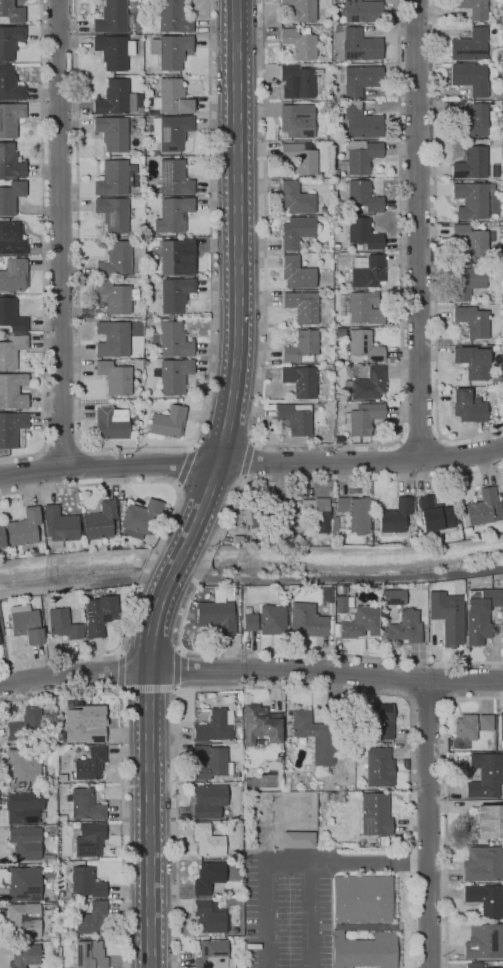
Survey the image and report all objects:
building: (472, 8)
building: (301, 9)
building: (361, 11)
building: (11, 12)
building: (111, 17)
building: (170, 17)
building: (9, 41)
building: (299, 43)
building: (469, 45)
building: (360, 46)
building: (113, 51)
building: (170, 51)
building: (470, 78)
building: (358, 79)
building: (296, 82)
building: (9, 85)
building: (114, 98)
building: (171, 98)
building: (139, 111)
building: (149, 112)
building: (10, 119)
building: (296, 121)
building: (473, 122)
building: (360, 123)
building: (111, 132)
building: (170, 132)
building: (361, 156)
building: (299, 157)
building: (10, 162)
building: (471, 163)
building: (115, 178)
building: (173, 178)
building: (362, 196)
building: (10, 197)
building: (295, 198)
building: (471, 200)
building: (113, 214)
building: (172, 215)
building: (502, 227)
road: (417, 230)
building: (295, 231)
road: (59, 233)
road: (238, 233)
building: (362, 234)
building: (11, 239)
building: (470, 239)
road: (43, 246)
building: (335, 246)
road: (435, 250)
building: (174, 256)
building: (115, 260)
building: (366, 271)
building: (296, 273)
building: (13, 274)
building: (466, 281)
building: (174, 294)
building: (115, 296)
building: (302, 307)
building: (360, 307)
building: (11, 316)
building: (471, 321)
building: (337, 331)
building: (112, 339)
building: (169, 340)
building: (497, 340)
building: (363, 346)
building: (301, 347)
building: (11, 351)
building: (471, 361)
building: (139, 363)
building: (173, 376)
building: (494, 377)
building: (114, 378)
building: (300, 380)
building: (368, 384)
building: (12, 391)
building: (328, 405)
building: (467, 406)
building: (294, 418)
building: (364, 419)
building: (167, 422)
building: (109, 425)
building: (10, 428)
road: (420, 438)
road: (327, 444)
road: (137, 446)
road: (81, 448)
road: (62, 451)
road: (43, 452)
road: (439, 456)
road: (249, 460)
road: (389, 461)
road: (251, 462)
road: (214, 476)
road: (331, 479)
road: (158, 482)
road: (31, 490)
building: (483, 508)
building: (271, 510)
building: (316, 512)
building: (354, 513)
building: (433, 514)
building: (394, 516)
building: (139, 517)
building: (100, 523)
building: (334, 523)
building: (341, 523)
building: (58, 527)
building: (24, 528)
road: (191, 534)
building: (1, 537)
road: (206, 565)
road: (145, 569)
road: (189, 569)
road: (202, 573)
road: (352, 578)
road: (154, 579)
road: (70, 585)
building: (85, 594)
building: (393, 597)
building: (340, 604)
building: (99, 614)
building: (480, 615)
building: (216, 616)
building: (446, 616)
building: (265, 620)
building: (306, 621)
building: (25, 623)
building: (360, 623)
building: (62, 624)
building: (404, 627)
road: (299, 653)
road: (96, 654)
road: (177, 670)
road: (118, 671)
road: (251, 671)
road: (409, 679)
road: (446, 681)
road: (288, 687)
road: (147, 688)
road: (427, 701)
building: (237, 712)
building: (379, 719)
building: (484, 722)
building: (260, 724)
building: (25, 725)
building: (500, 726)
building: (81, 727)
building: (214, 727)
building: (465, 727)
building: (313, 739)
building: (208, 762)
building: (89, 764)
building: (23, 766)
building: (378, 768)
road: (122, 770)
road: (148, 772)
building: (485, 775)
building: (61, 778)
building: (208, 801)
building: (23, 805)
building: (81, 805)
road: (445, 806)
building: (374, 814)
building: (60, 817)
building: (489, 822)
road: (426, 824)
building: (50, 832)
building: (88, 840)
building: (207, 840)
building: (298, 840)
building: (24, 842)
building: (382, 842)
building: (48, 857)
road: (345, 863)
building: (481, 864)
building: (235, 865)
building: (50, 868)
building: (207, 877)
building: (86, 882)
building: (22, 883)
building: (363, 899)
building: (484, 899)
building: (52, 915)
road: (309, 915)
road: (264, 916)
building: (208, 917)
building: (24, 919)
building: (90, 919)
building: (365, 927)
building: (50, 931)
building: (483, 941)
building: (43, 943)
building: (252, 946)
building: (397, 946)
building: (363, 950)
building: (88, 953)
building: (211, 954)
building: (23, 955)
building: (474, 965)

